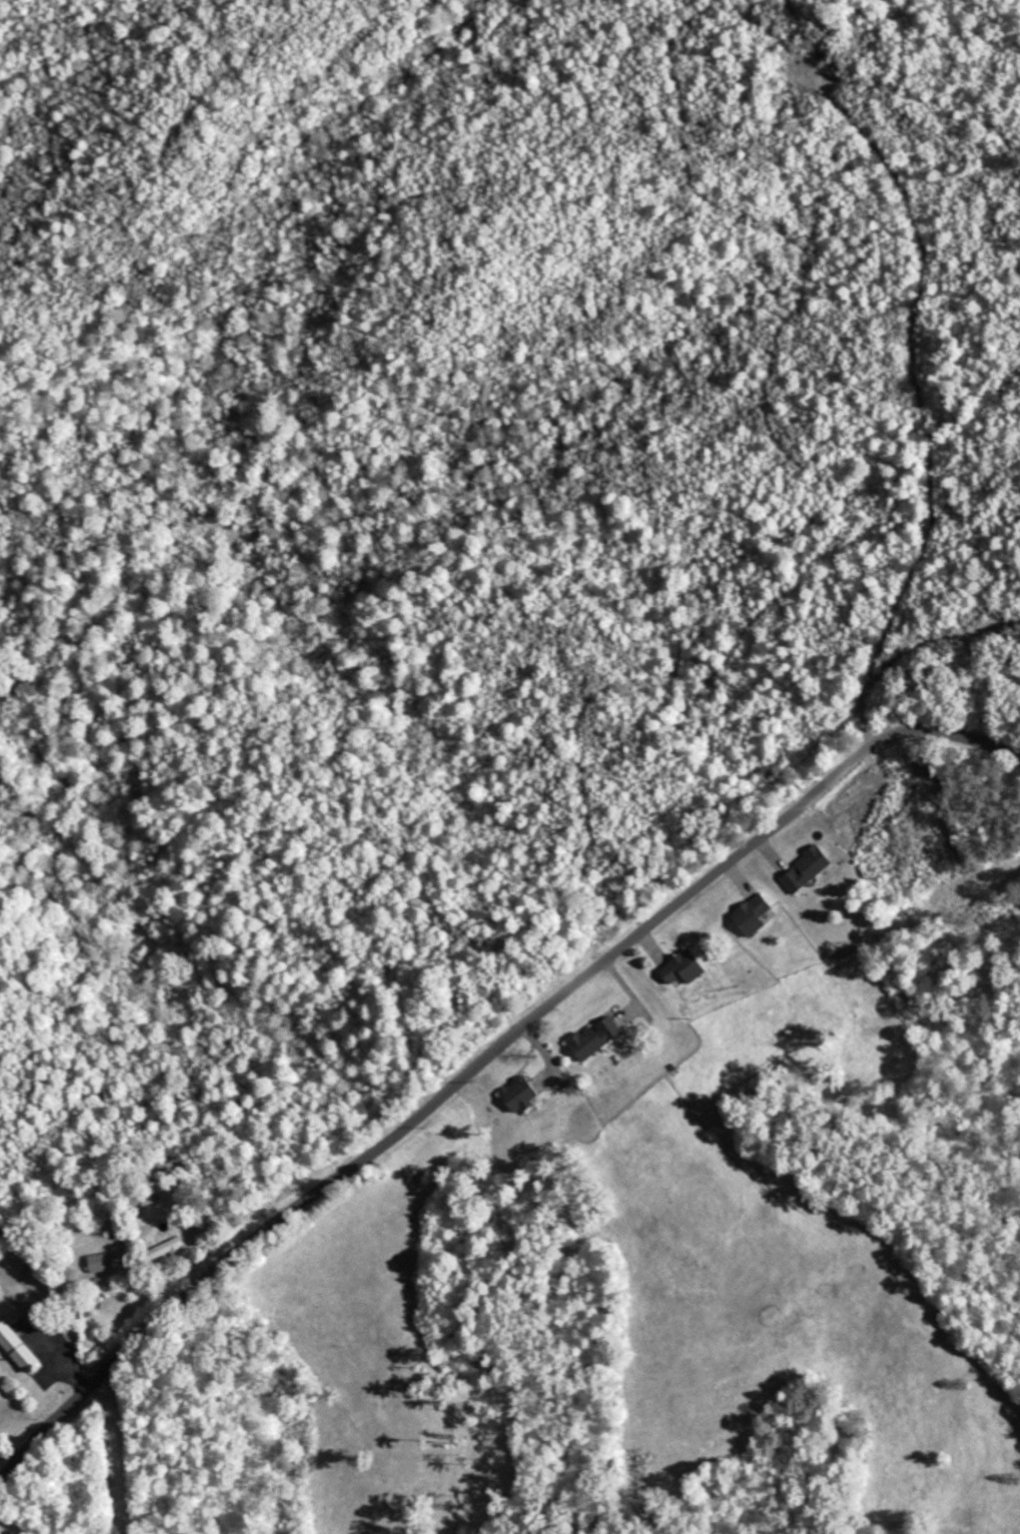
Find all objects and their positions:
building: (755, 914)
building: (593, 1038)
road: (486, 1059)
building: (517, 1095)
building: (164, 1250)
building: (98, 1263)
building: (16, 1347)

